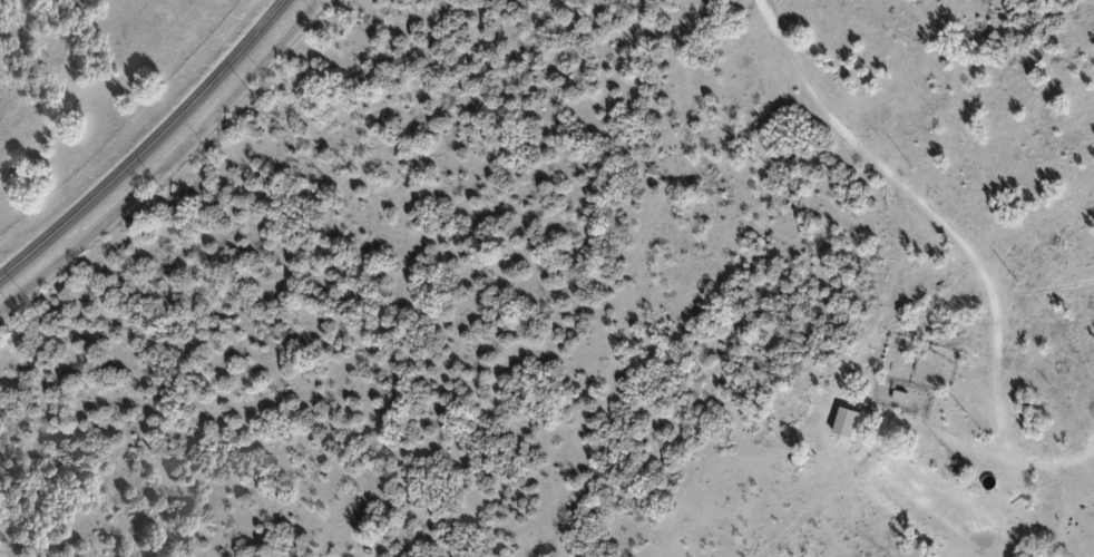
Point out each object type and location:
road: (148, 146)

